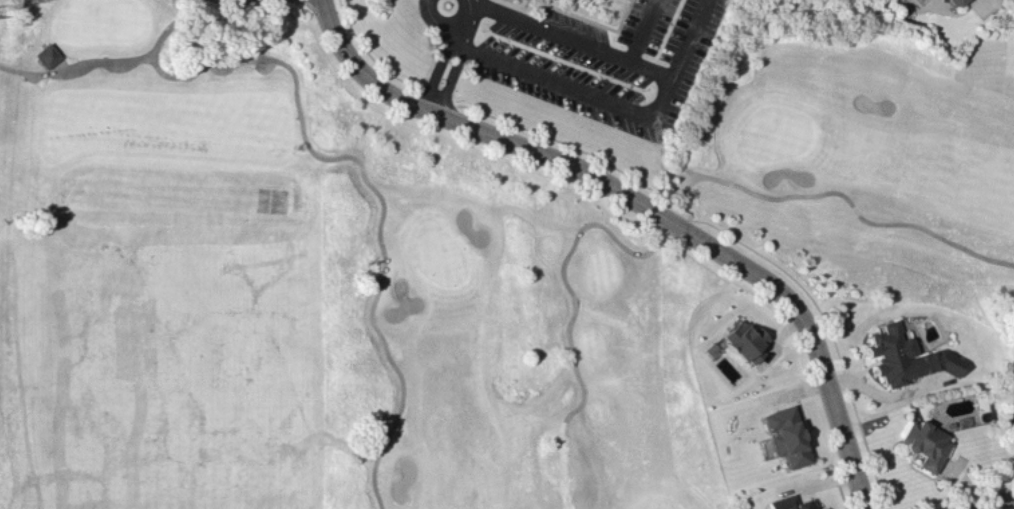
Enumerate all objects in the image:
building: (955, 0)
road: (465, 19)
road: (437, 22)
road: (643, 30)
road: (572, 38)
building: (47, 54)
road: (132, 58)
road: (680, 58)
parking lot: (603, 59)
road: (23, 70)
road: (436, 70)
road: (451, 76)
road: (555, 80)
road: (672, 169)
road: (377, 192)
road: (644, 204)
road: (675, 205)
road: (855, 207)
road: (563, 276)
building: (738, 341)
building: (905, 356)
road: (883, 393)
building: (1011, 409)
building: (786, 439)
building: (924, 443)
road: (992, 502)
building: (804, 506)
building: (826, 508)

